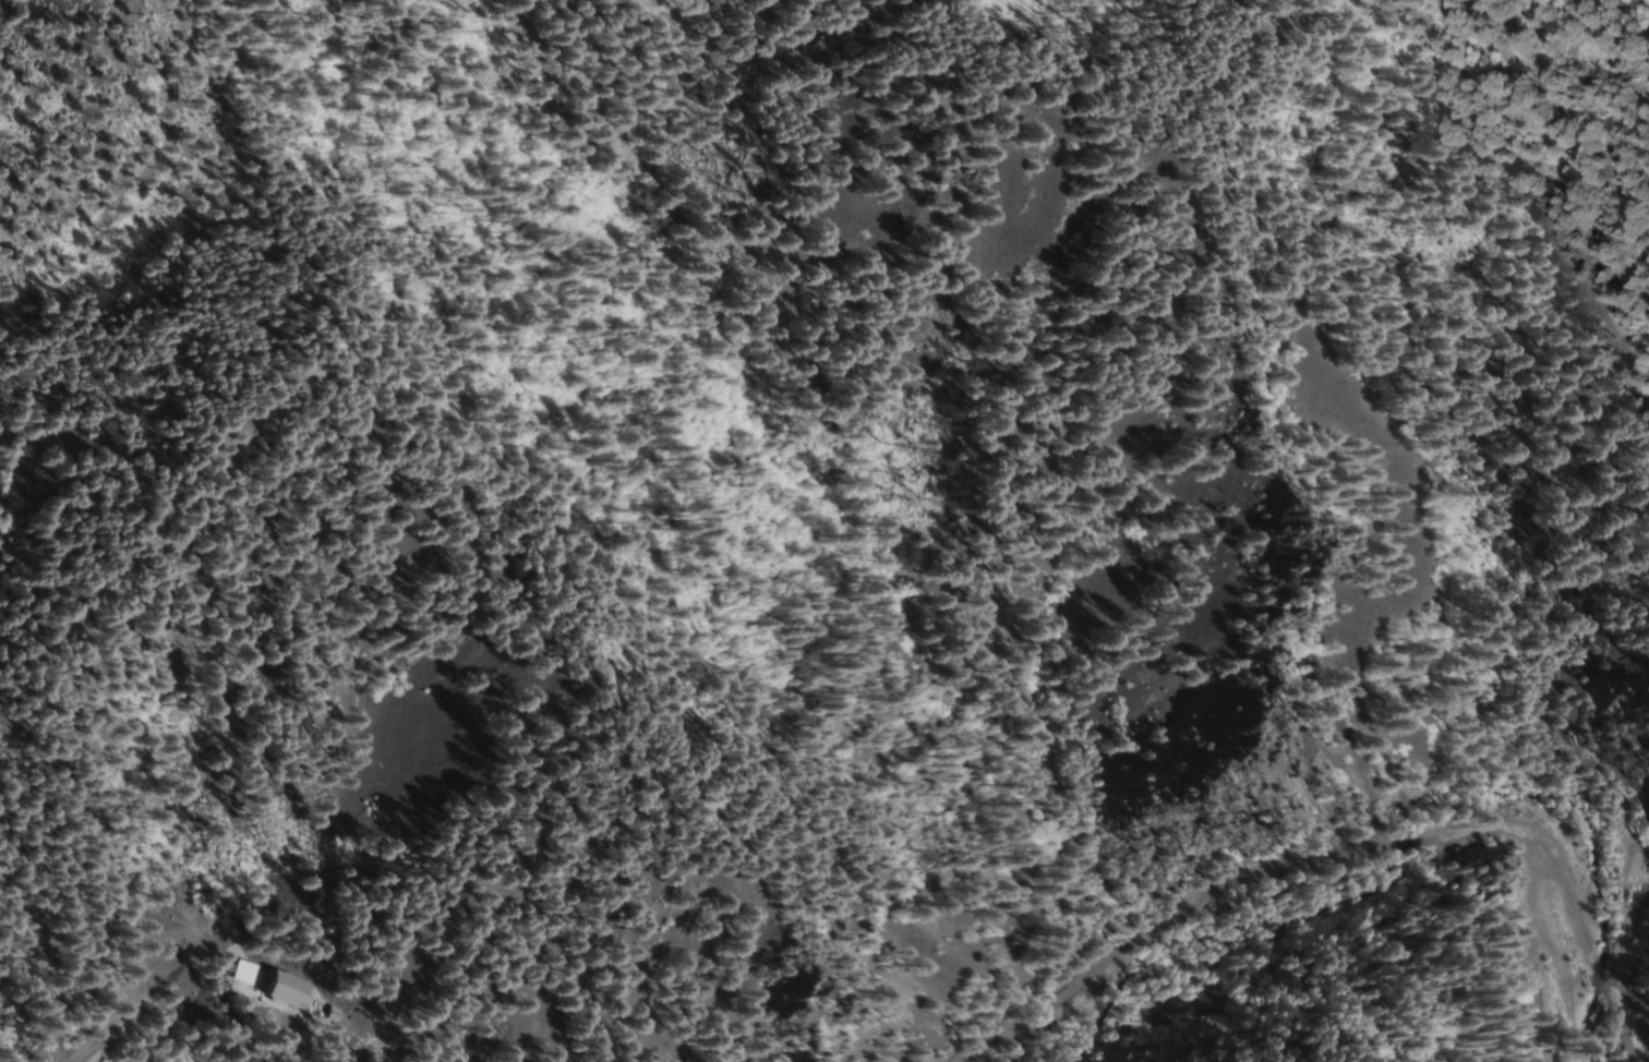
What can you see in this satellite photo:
road: (1363, 852)

